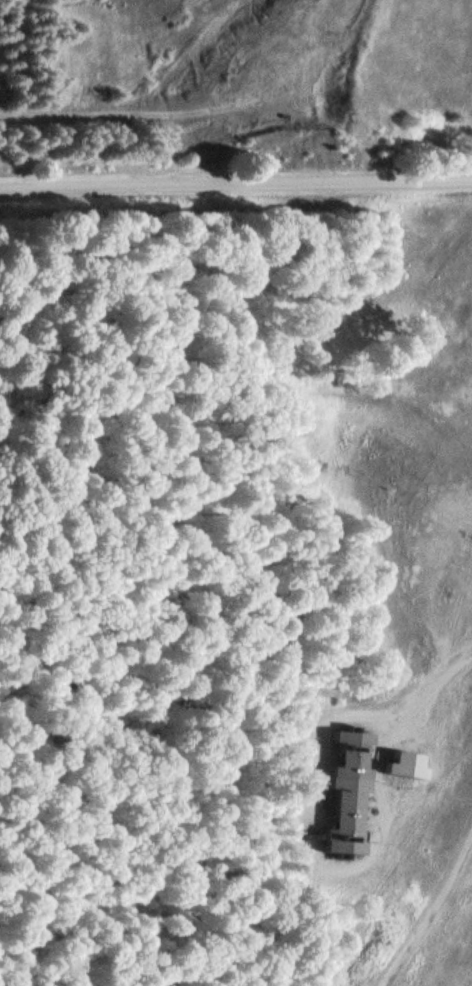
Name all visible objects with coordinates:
quarry: (195, 82)
road: (236, 185)
building: (390, 464)
road: (405, 581)
road: (437, 681)
road: (382, 761)
building: (406, 764)
building: (350, 795)
road: (318, 854)
road: (384, 859)

